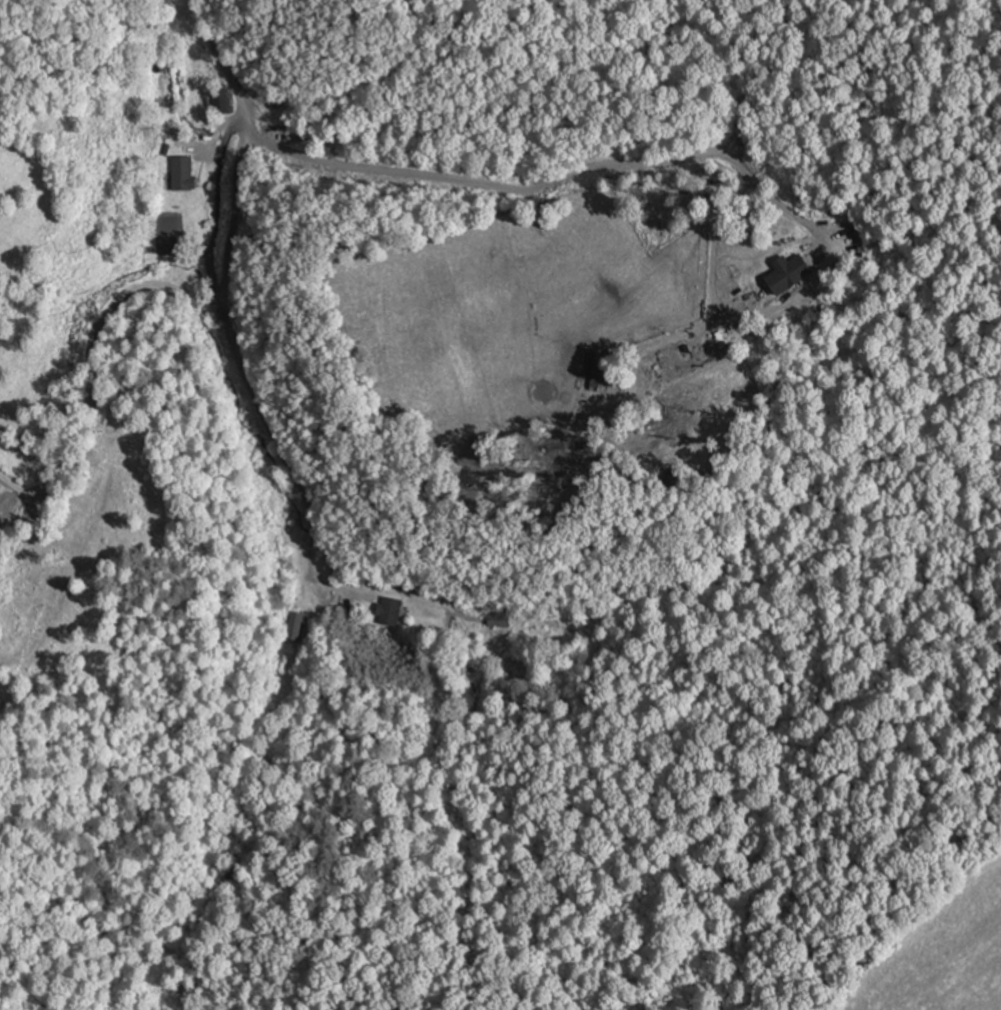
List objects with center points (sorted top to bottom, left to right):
building: (221, 100)
building: (183, 172)
road: (485, 182)
building: (791, 272)
building: (391, 611)
building: (498, 619)
building: (296, 625)

